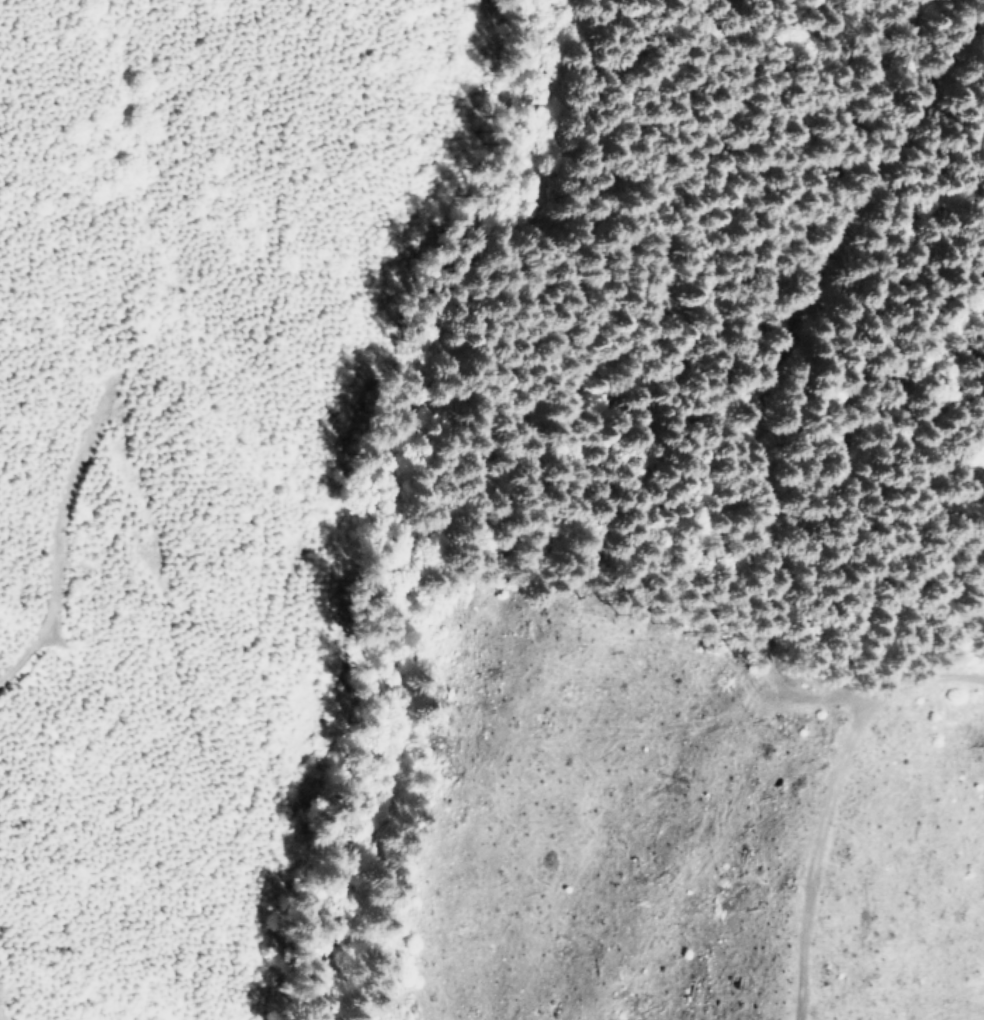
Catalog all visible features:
road: (768, 414)

